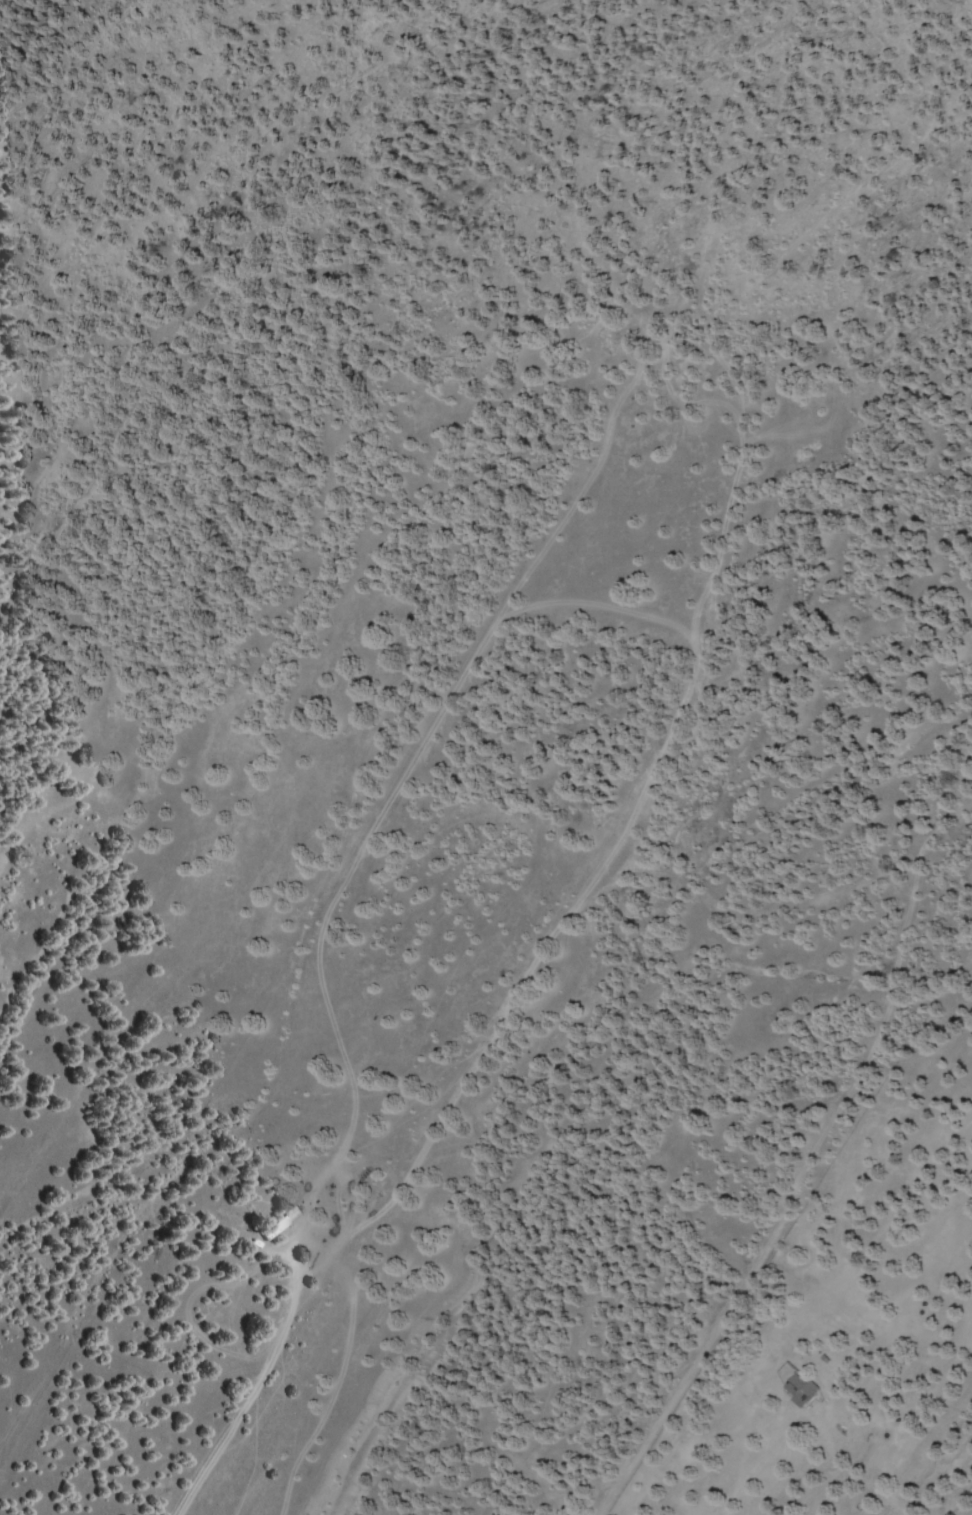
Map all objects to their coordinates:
building: (278, 1223)
building: (795, 1384)

